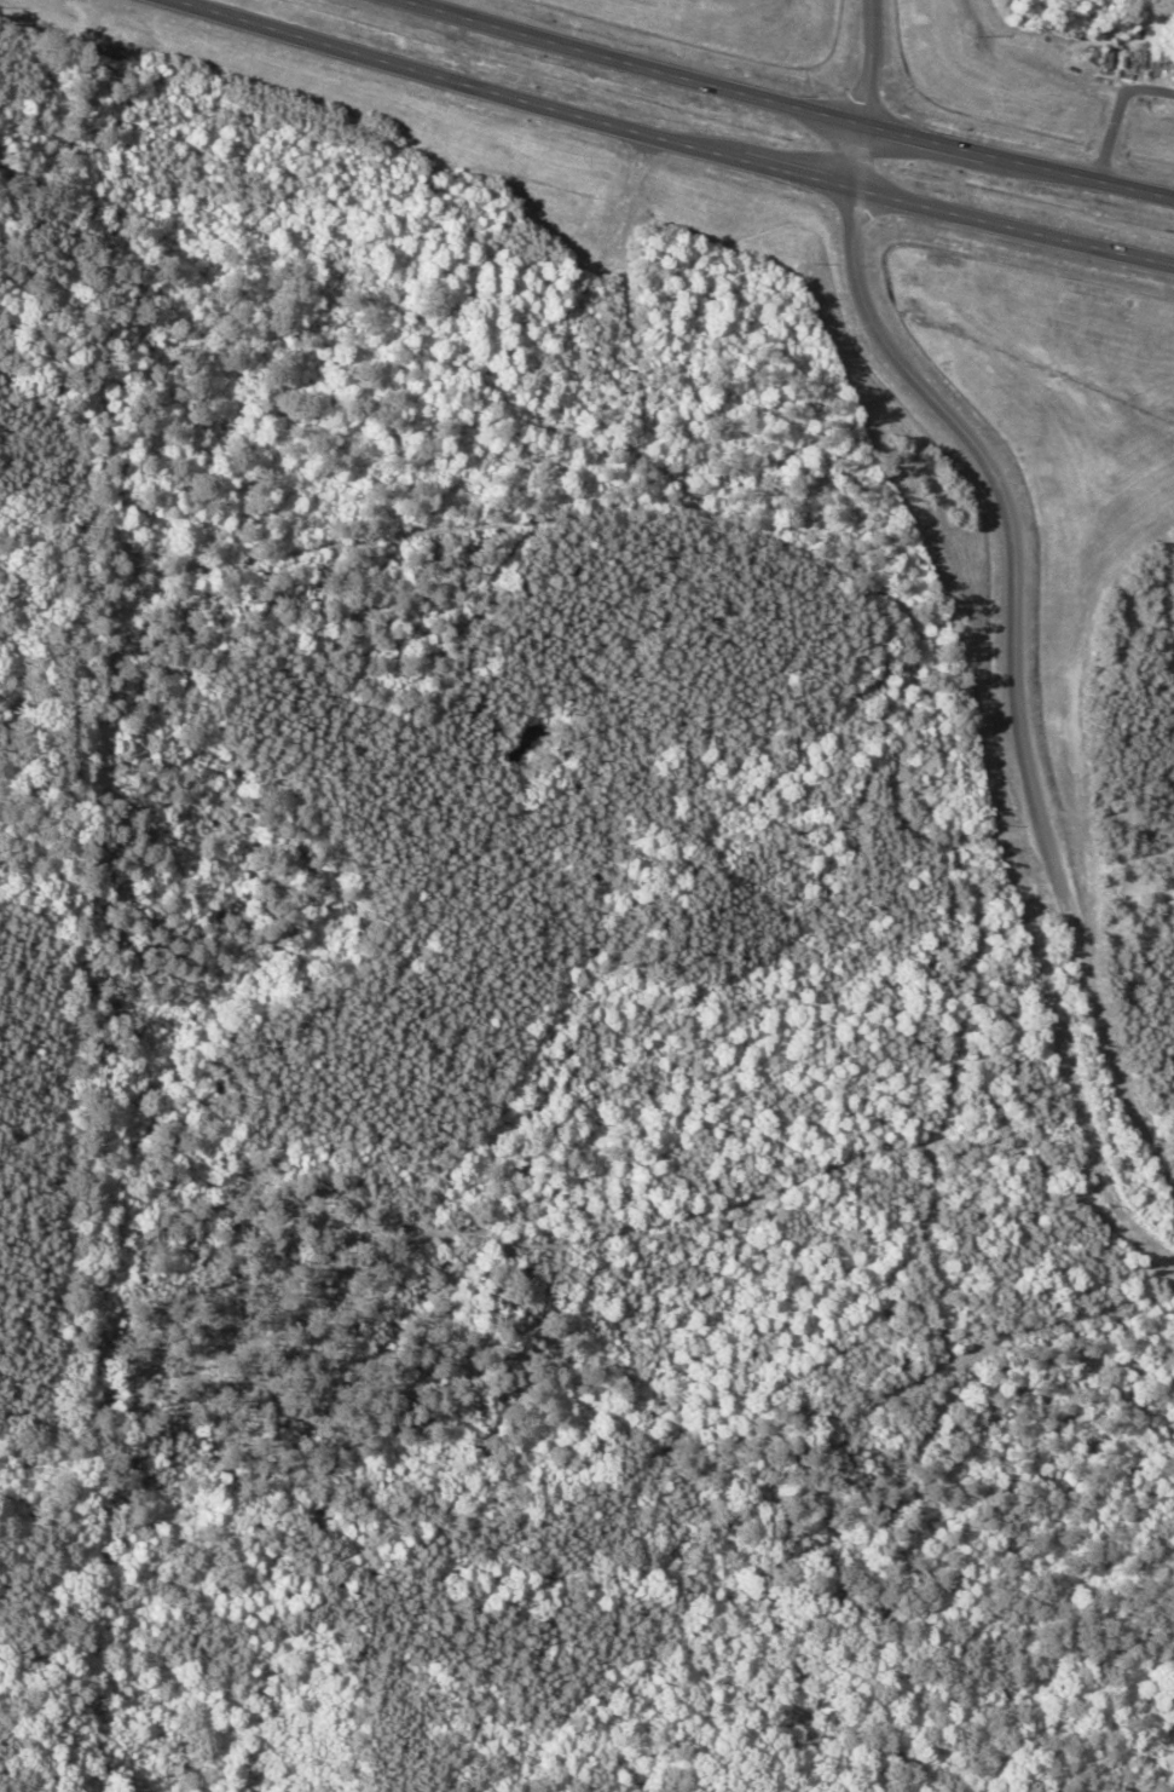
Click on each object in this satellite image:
road: (864, 93)
road: (794, 106)
road: (676, 140)
road: (1010, 682)
road: (706, 1191)

